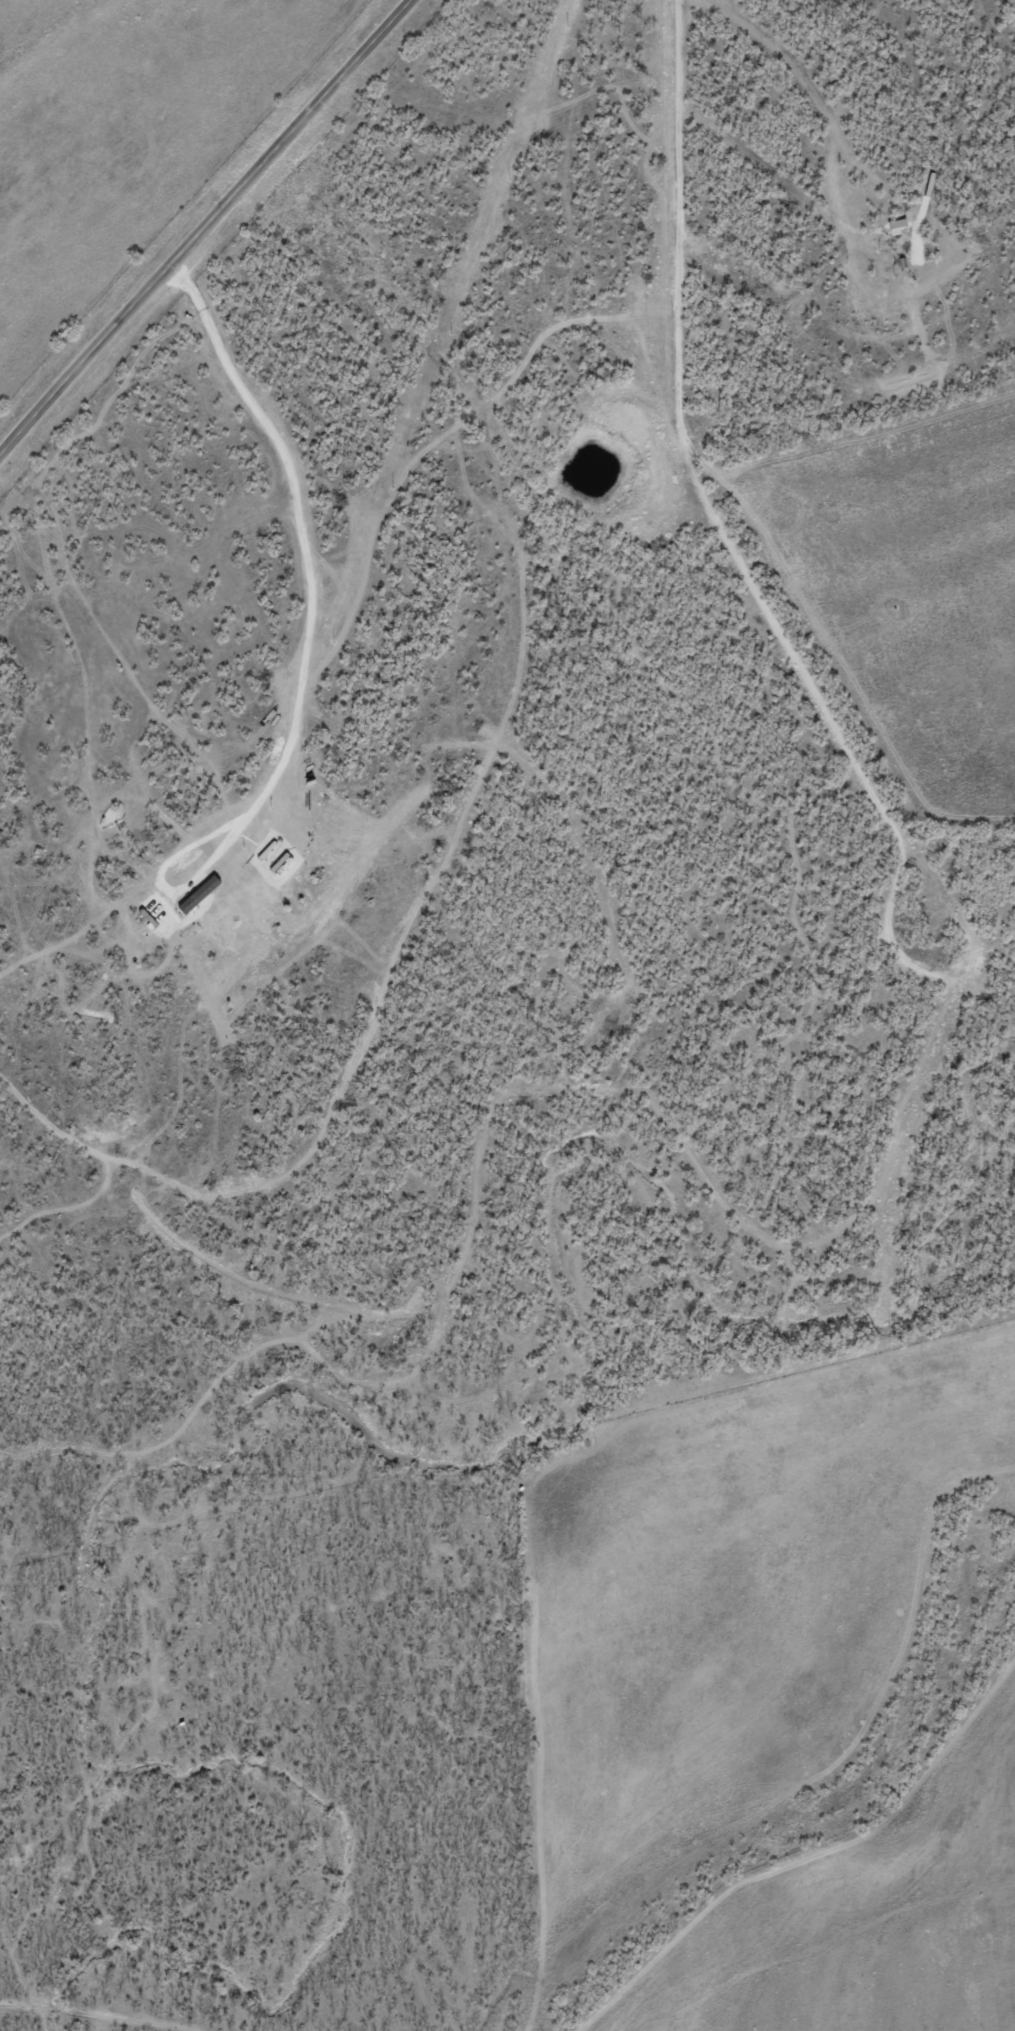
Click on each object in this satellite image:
road: (204, 228)
road: (658, 492)
road: (302, 515)

